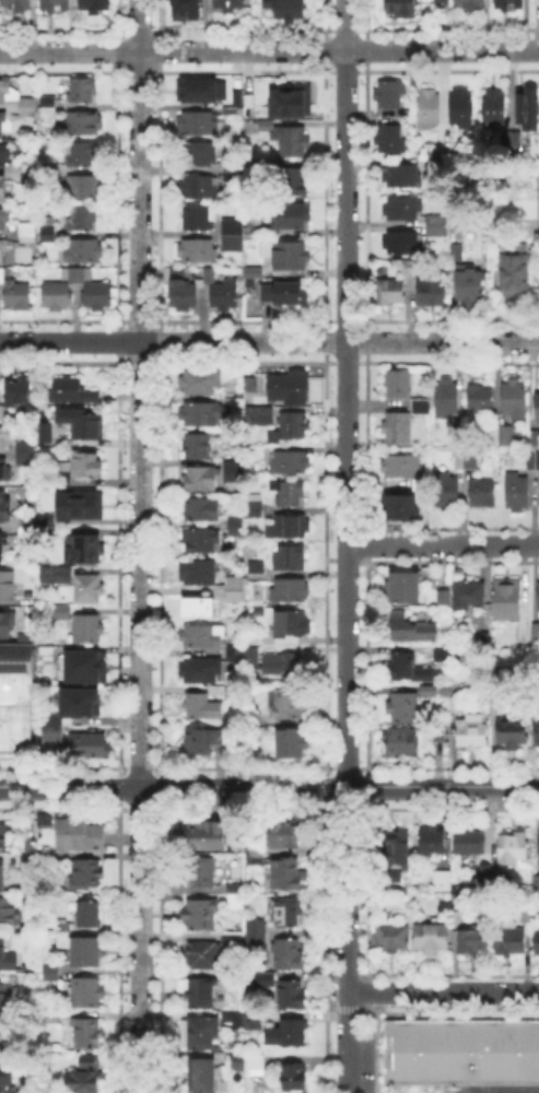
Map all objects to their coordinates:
building: (442, 1)
building: (537, 1)
building: (55, 4)
building: (471, 4)
building: (95, 5)
building: (230, 5)
building: (16, 7)
building: (502, 7)
building: (400, 8)
building: (184, 10)
building: (290, 10)
road: (269, 50)
building: (5, 92)
building: (83, 92)
building: (197, 92)
building: (391, 95)
building: (47, 99)
building: (292, 102)
building: (249, 105)
building: (27, 107)
building: (494, 108)
building: (429, 109)
building: (529, 109)
building: (461, 110)
building: (232, 111)
building: (48, 113)
building: (201, 124)
building: (84, 125)
building: (2, 126)
building: (506, 139)
building: (516, 139)
building: (288, 140)
building: (389, 140)
building: (200, 154)
building: (83, 155)
building: (4, 158)
building: (234, 171)
building: (402, 176)
building: (295, 184)
building: (85, 187)
building: (198, 187)
building: (2, 188)
building: (403, 208)
building: (200, 216)
building: (292, 216)
building: (3, 219)
building: (83, 219)
building: (256, 221)
building: (437, 222)
building: (26, 228)
building: (49, 231)
building: (435, 231)
building: (253, 233)
building: (265, 233)
building: (233, 235)
building: (27, 238)
building: (405, 244)
building: (3, 250)
building: (199, 250)
building: (83, 251)
building: (456, 251)
building: (253, 257)
building: (290, 257)
building: (411, 268)
building: (254, 272)
building: (78, 273)
building: (208, 274)
building: (515, 274)
building: (2, 275)
building: (470, 285)
building: (390, 292)
building: (432, 293)
building: (284, 294)
building: (17, 296)
building: (57, 296)
building: (181, 296)
building: (224, 296)
building: (97, 297)
road: (269, 342)
building: (247, 383)
building: (397, 383)
building: (201, 384)
building: (251, 385)
building: (290, 388)
building: (19, 392)
building: (73, 392)
building: (447, 398)
building: (515, 398)
building: (480, 400)
building: (420, 406)
building: (538, 408)
building: (1, 411)
building: (202, 414)
building: (259, 415)
building: (81, 423)
building: (294, 426)
building: (398, 427)
building: (502, 437)
building: (4, 439)
building: (536, 439)
building: (40, 443)
building: (198, 446)
building: (255, 449)
building: (26, 455)
building: (466, 458)
building: (532, 460)
building: (538, 460)
building: (289, 462)
building: (62, 466)
building: (87, 466)
building: (401, 466)
building: (4, 470)
building: (213, 477)
building: (63, 478)
building: (448, 492)
building: (291, 493)
building: (483, 494)
building: (518, 495)
building: (538, 496)
building: (77, 505)
building: (257, 505)
building: (402, 507)
building: (5, 509)
building: (202, 509)
building: (46, 519)
building: (236, 526)
building: (288, 527)
building: (26, 529)
building: (202, 541)
road: (139, 545)
road: (443, 545)
road: (347, 546)
building: (1, 549)
building: (87, 551)
building: (291, 559)
building: (200, 574)
building: (57, 575)
building: (8, 586)
building: (405, 588)
building: (90, 590)
building: (237, 591)
building: (469, 595)
building: (444, 598)
building: (537, 598)
building: (28, 599)
building: (507, 599)
building: (202, 610)
building: (292, 610)
building: (62, 615)
building: (7, 625)
building: (411, 628)
building: (89, 630)
building: (537, 634)
building: (25, 636)
building: (203, 636)
building: (525, 636)
building: (234, 655)
building: (445, 655)
building: (253, 658)
building: (281, 665)
building: (84, 668)
building: (411, 669)
building: (202, 671)
building: (502, 677)
building: (425, 689)
building: (429, 694)
building: (15, 695)
building: (80, 704)
building: (286, 704)
building: (454, 705)
building: (202, 706)
building: (405, 708)
building: (50, 720)
building: (537, 730)
building: (513, 732)
building: (54, 734)
building: (440, 734)
building: (472, 736)
building: (206, 741)
building: (292, 743)
building: (90, 747)
building: (400, 747)
road: (269, 786)
building: (48, 822)
building: (284, 834)
building: (206, 835)
building: (4, 836)
building: (80, 836)
building: (433, 843)
building: (30, 844)
building: (469, 845)
building: (397, 846)
building: (538, 846)
building: (256, 850)
building: (514, 851)
building: (27, 859)
building: (485, 867)
building: (202, 871)
building: (86, 873)
building: (2, 874)
building: (285, 874)
building: (392, 877)
building: (442, 880)
building: (536, 882)
building: (503, 884)
building: (235, 892)
building: (458, 900)
building: (9, 913)
building: (286, 913)
building: (90, 915)
building: (201, 915)
building: (526, 916)
building: (66, 927)
building: (258, 932)
building: (233, 937)
building: (63, 938)
building: (390, 938)
building: (432, 938)
building: (472, 943)
building: (513, 943)
building: (538, 943)
building: (87, 953)
building: (288, 953)
building: (202, 955)
building: (7, 957)
building: (51, 972)
building: (267, 976)
building: (9, 980)
building: (87, 994)
building: (202, 994)
road: (443, 994)
building: (5, 995)
building: (293, 996)
building: (47, 1013)
flagpole: (399, 1013)
building: (234, 1019)
building: (255, 1022)
building: (89, 1032)
building: (201, 1033)
building: (289, 1033)
building: (461, 1050)
building: (237, 1062)
building: (256, 1066)
building: (292, 1074)
building: (84, 1076)
building: (202, 1077)
building: (7, 1080)

